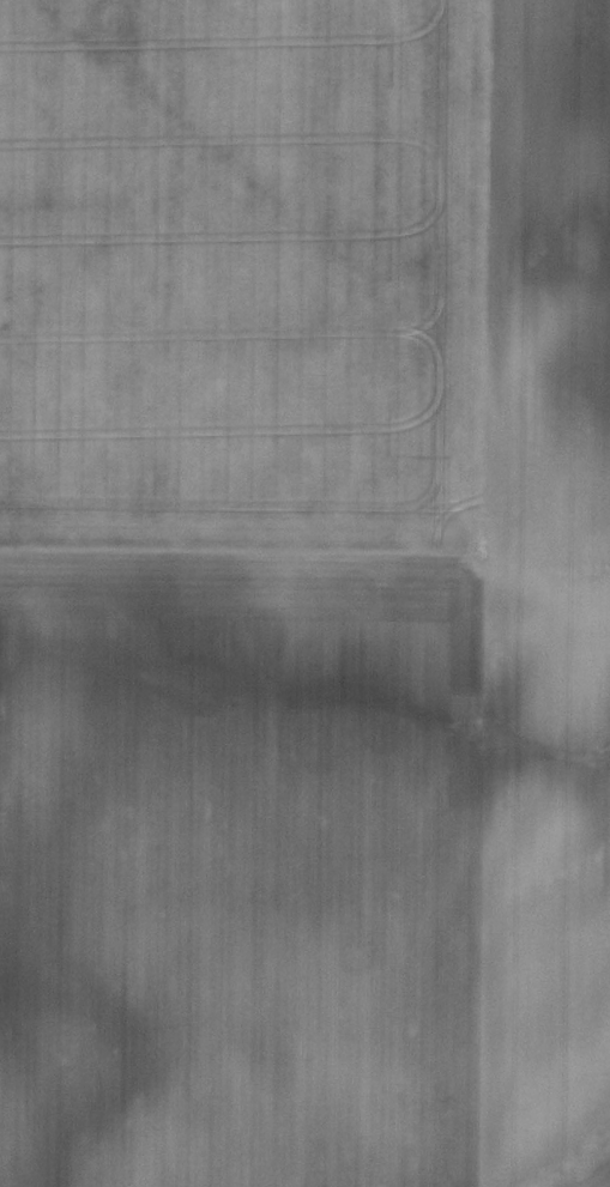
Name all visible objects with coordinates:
crop: (304, 593)

